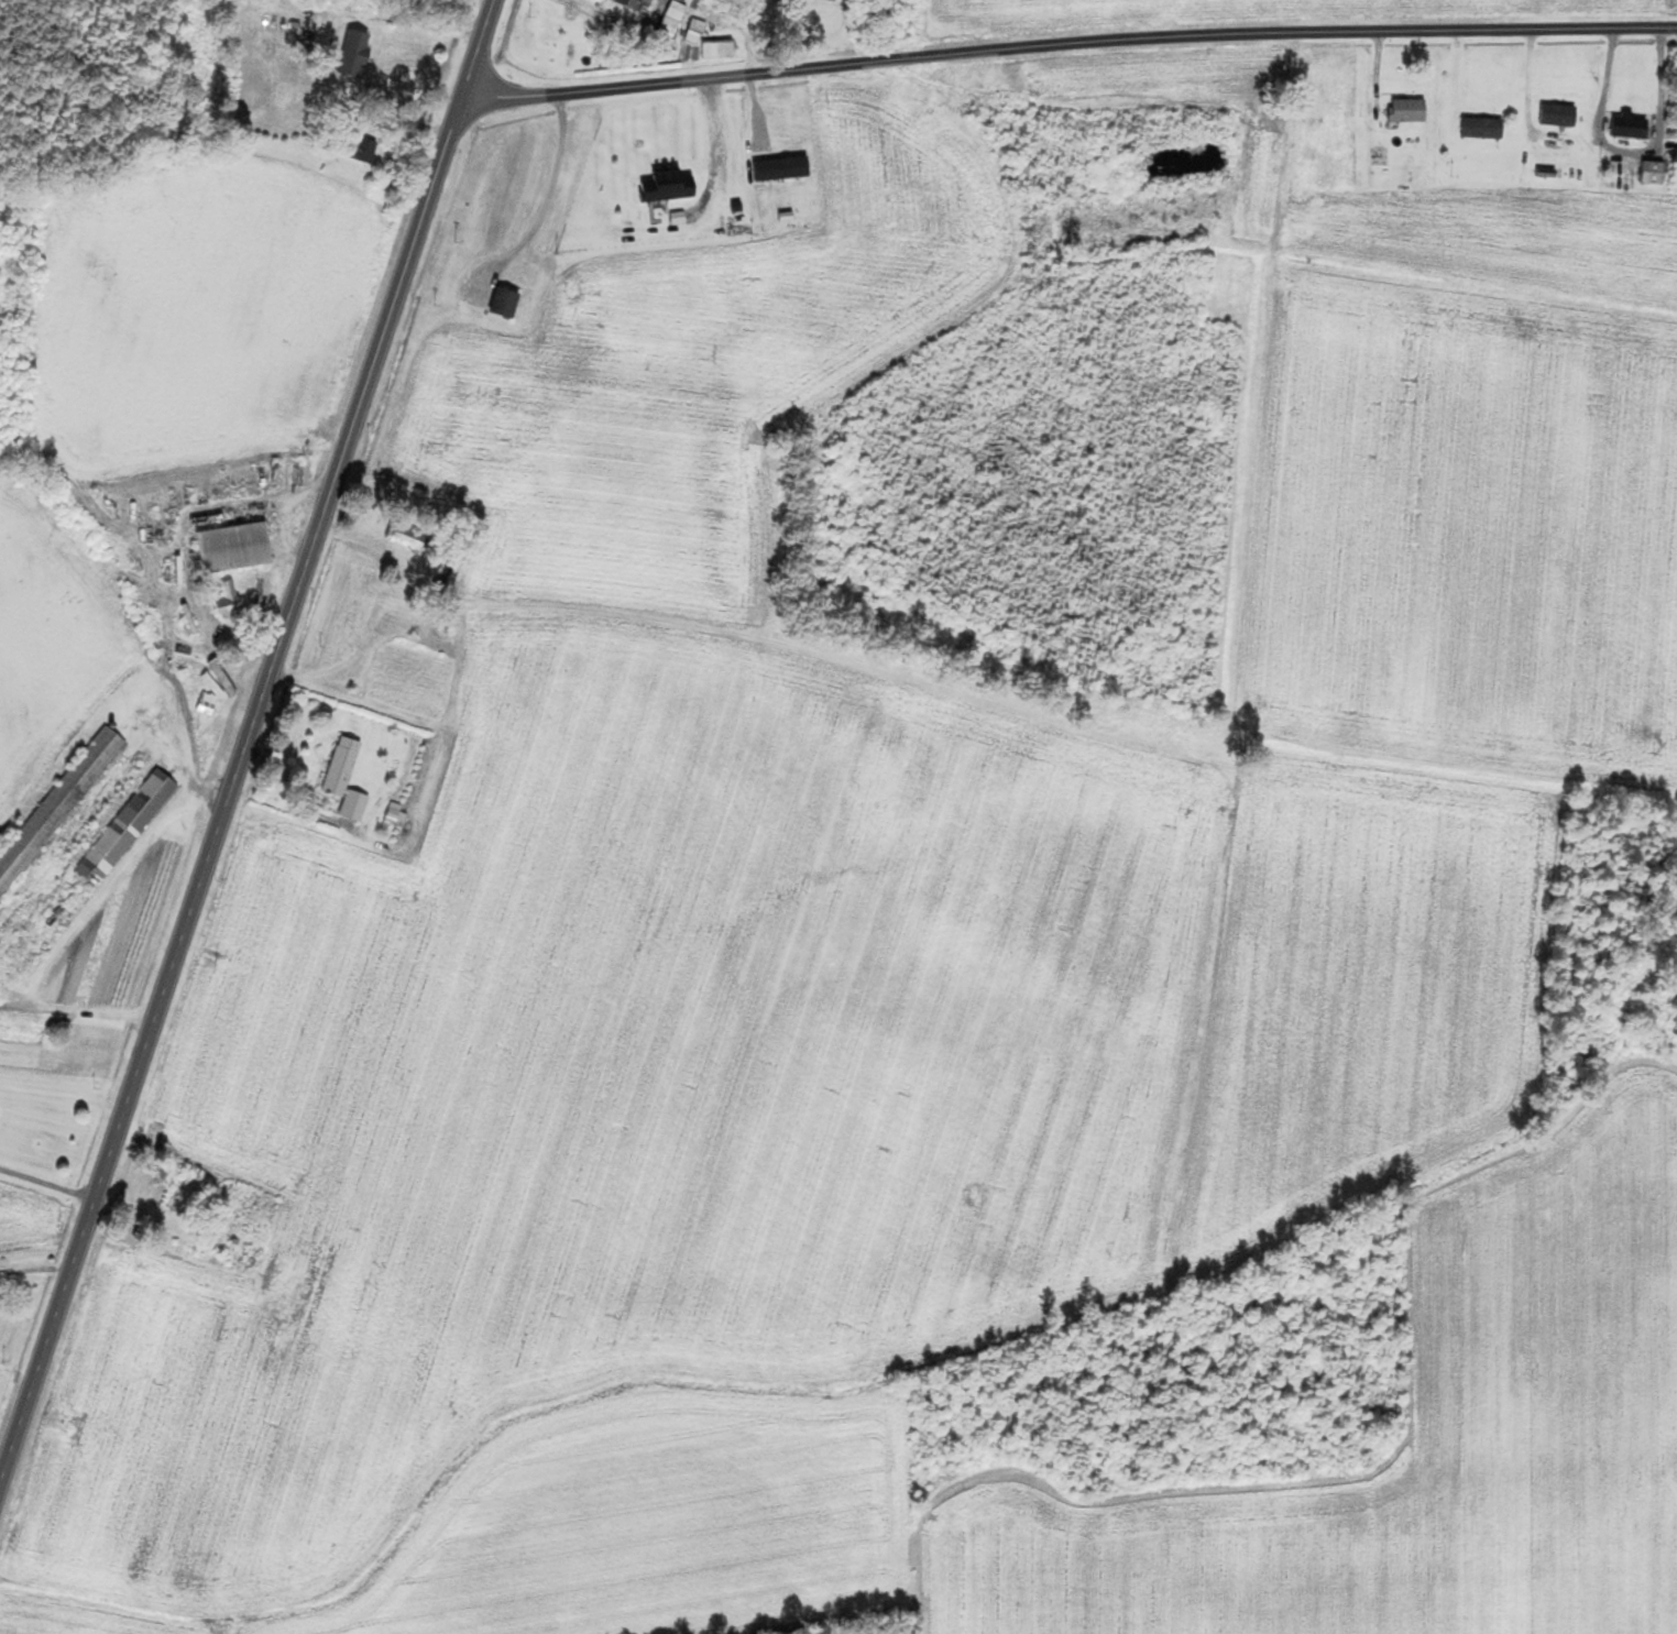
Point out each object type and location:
building: (831, 0)
building: (634, 4)
building: (671, 20)
road: (1066, 45)
road: (476, 51)
building: (351, 54)
building: (1407, 111)
building: (1557, 116)
building: (1629, 128)
building: (1482, 129)
building: (364, 153)
road: (1627, 153)
building: (1653, 174)
building: (667, 187)
building: (504, 304)
building: (405, 537)
building: (233, 548)
building: (227, 600)
building: (346, 779)
road: (230, 794)
building: (57, 807)
building: (87, 876)
building: (177, 1193)

